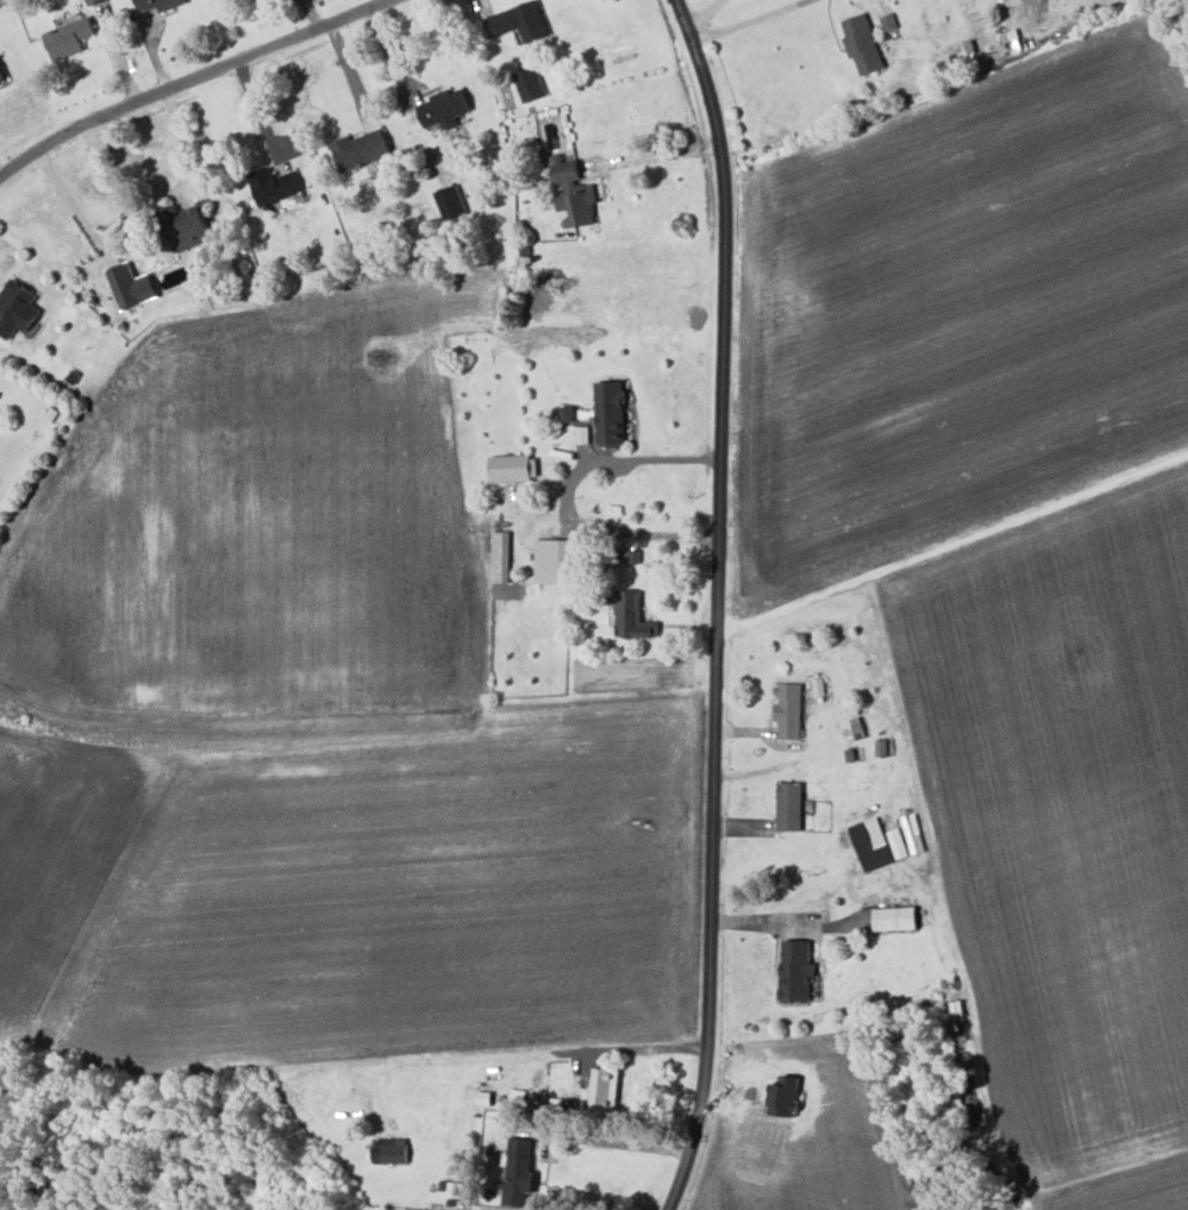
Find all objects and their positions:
building: (95, 1)
building: (160, 4)
building: (520, 21)
road: (749, 21)
building: (70, 38)
building: (863, 43)
road: (1177, 45)
building: (1, 76)
road: (188, 80)
building: (530, 84)
building: (445, 108)
road: (261, 115)
building: (361, 149)
road: (657, 153)
building: (276, 187)
road: (74, 193)
building: (575, 193)
building: (451, 202)
building: (131, 287)
building: (17, 308)
building: (611, 412)
building: (568, 413)
building: (582, 433)
building: (514, 466)
road: (567, 496)
road: (952, 547)
building: (500, 556)
building: (557, 559)
road: (718, 603)
building: (632, 615)
building: (789, 709)
building: (790, 804)
building: (877, 842)
building: (895, 917)
building: (796, 970)
road: (515, 1055)
building: (605, 1087)
road: (612, 1141)
building: (392, 1149)
building: (519, 1171)
building: (455, 1189)

